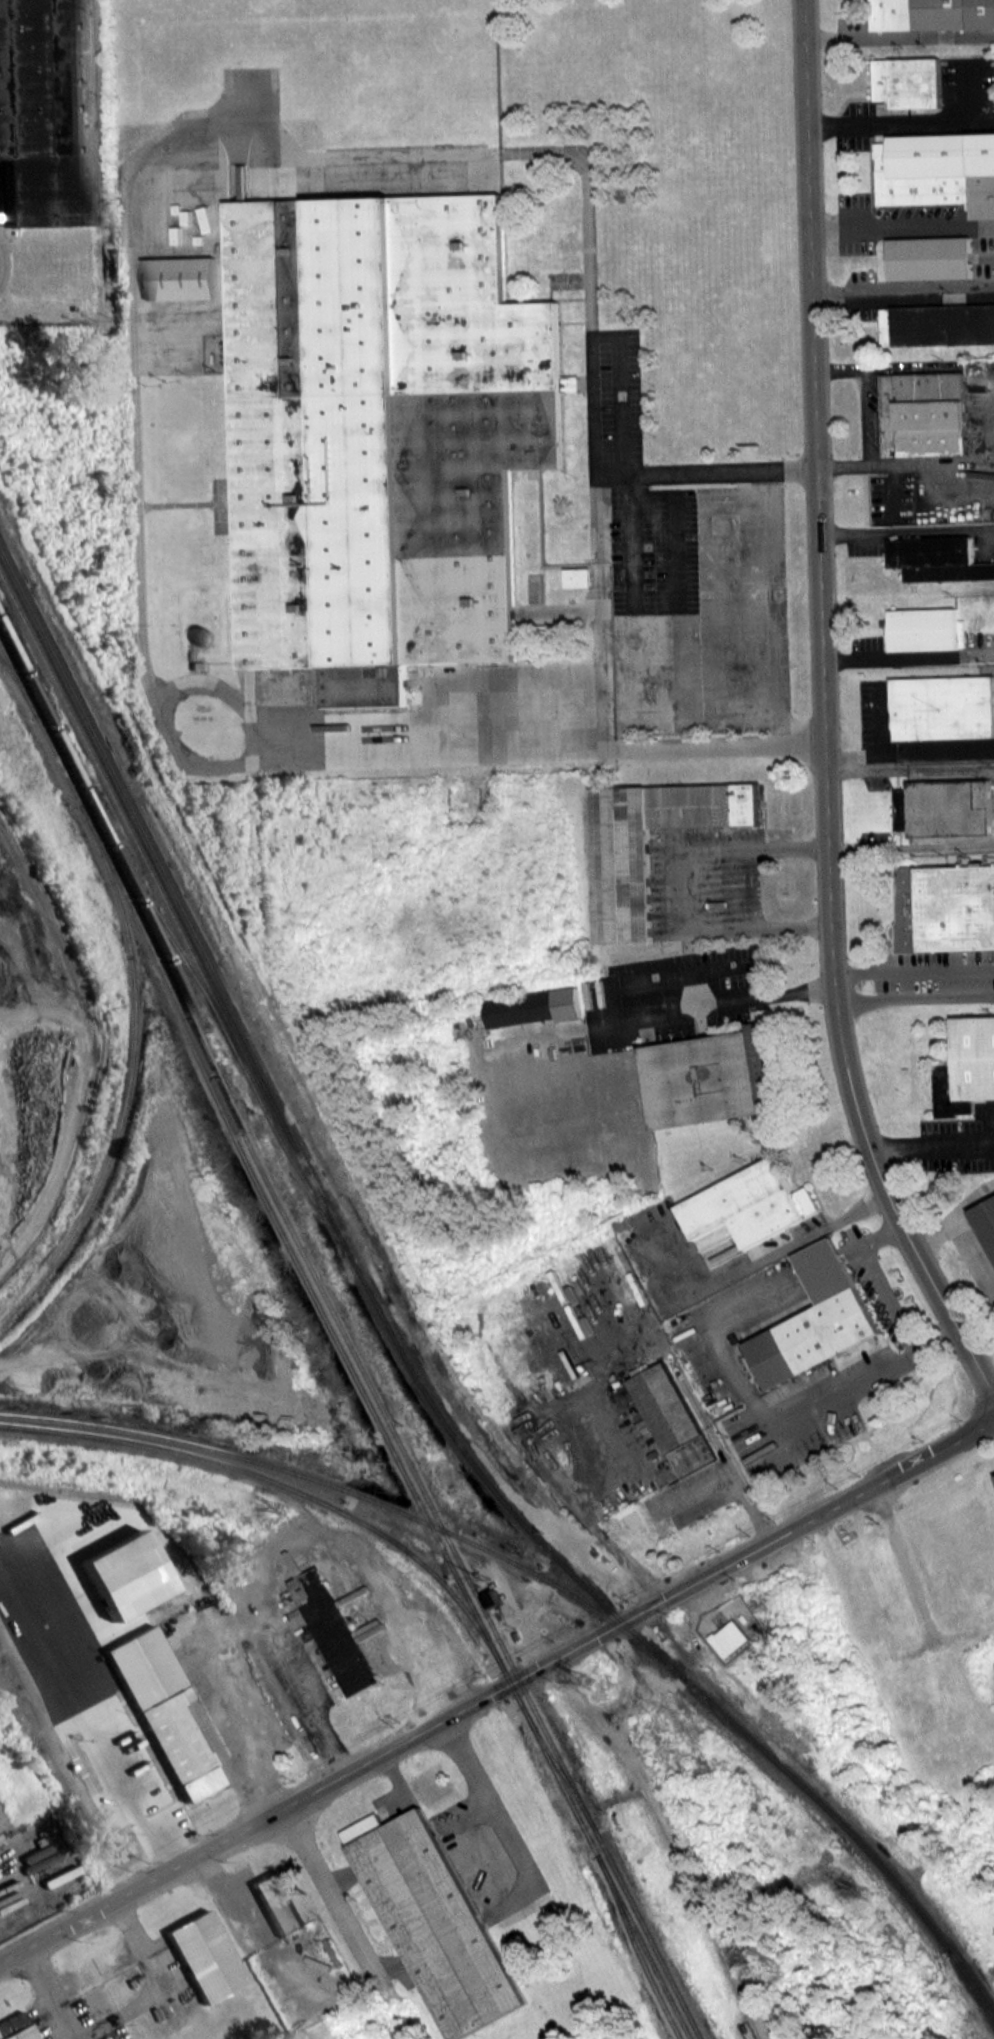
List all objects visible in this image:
building: (932, 14)
building: (907, 82)
building: (40, 114)
road: (885, 121)
building: (936, 171)
road: (901, 226)
building: (931, 258)
road: (0, 261)
road: (128, 274)
road: (902, 289)
building: (937, 325)
road: (620, 390)
building: (925, 414)
building: (382, 433)
road: (674, 529)
road: (908, 531)
road: (632, 540)
building: (938, 559)
building: (926, 629)
road: (887, 658)
railway: (12, 679)
building: (943, 707)
road: (823, 714)
railway: (38, 725)
road: (877, 746)
building: (944, 807)
railway: (118, 815)
road: (674, 881)
building: (623, 885)
building: (945, 908)
railway: (167, 936)
road: (913, 971)
road: (987, 997)
road: (915, 999)
building: (534, 1007)
road: (637, 1016)
building: (975, 1057)
railway: (127, 1074)
building: (712, 1078)
railway: (273, 1099)
road: (930, 1144)
railway: (294, 1162)
building: (749, 1204)
building: (986, 1221)
road: (795, 1243)
railway: (346, 1336)
building: (811, 1336)
road: (663, 1342)
road: (858, 1386)
railway: (380, 1423)
railway: (219, 1449)
railway: (284, 1483)
railway: (66, 1491)
power tower: (285, 1505)
road: (362, 1558)
railway: (564, 1588)
building: (495, 1596)
road: (225, 1632)
power tower: (590, 1679)
road: (630, 1679)
road: (496, 1689)
railway: (789, 1773)
road: (132, 1788)
road: (672, 1841)
power tower: (865, 1891)
road: (335, 1904)
building: (434, 1920)
railway: (636, 1947)
railway: (975, 1984)
railway: (975, 1987)
building: (16, 2027)

